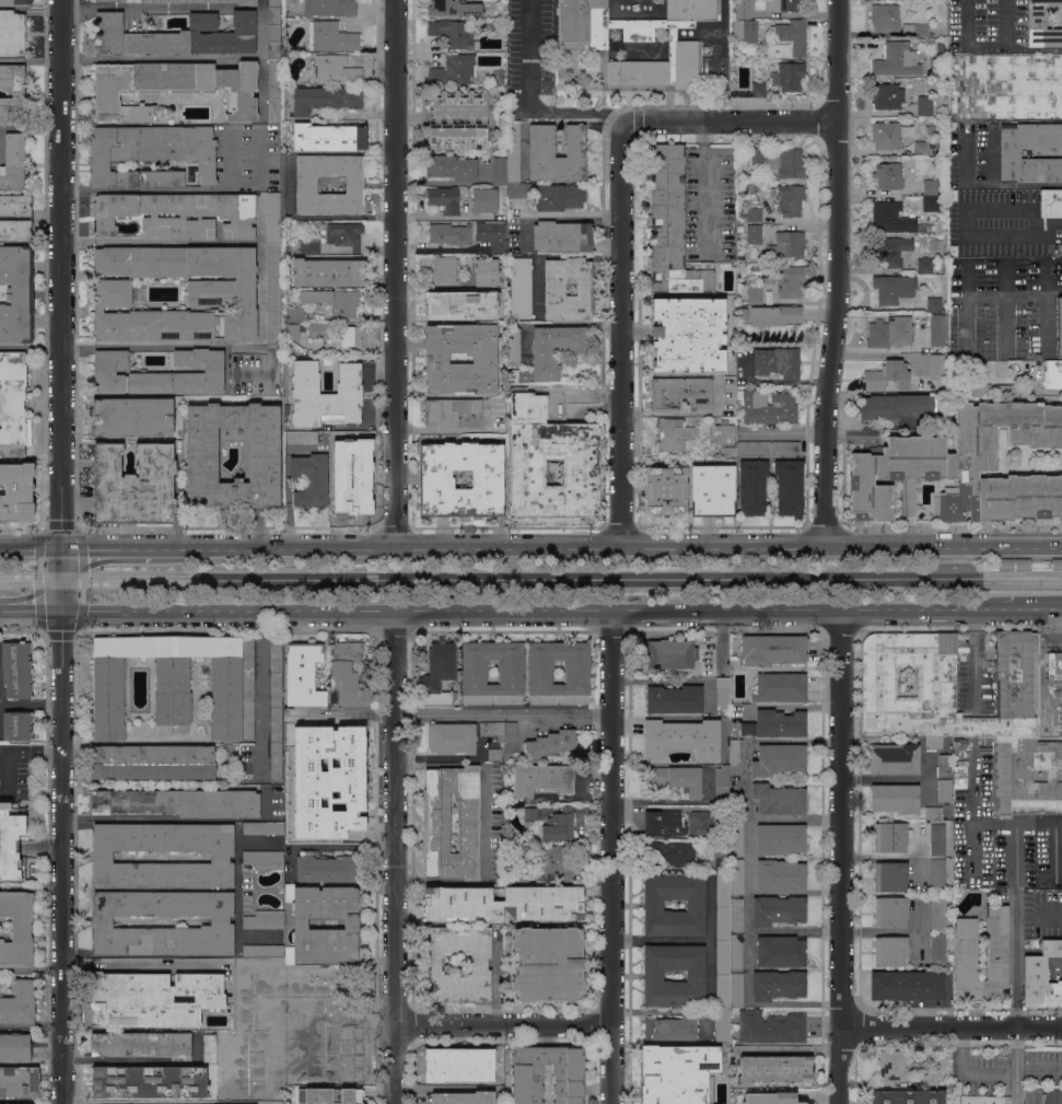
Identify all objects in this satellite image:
building: (15, 1)
building: (188, 1)
building: (273, 3)
building: (782, 4)
road: (179, 5)
road: (75, 8)
building: (329, 8)
building: (454, 8)
building: (743, 9)
building: (895, 21)
building: (1041, 25)
building: (733, 28)
building: (498, 30)
building: (749, 31)
building: (12, 33)
building: (273, 33)
building: (453, 33)
building: (177, 35)
building: (331, 36)
building: (786, 39)
road: (967, 44)
building: (582, 45)
building: (941, 45)
road: (1010, 49)
road: (203, 56)
building: (897, 59)
road: (77, 60)
building: (1051, 66)
building: (336, 70)
building: (454, 70)
building: (498, 77)
building: (733, 77)
building: (789, 77)
road: (261, 85)
building: (173, 86)
building: (758, 90)
building: (273, 91)
building: (734, 93)
building: (12, 94)
building: (887, 96)
building: (287, 97)
building: (325, 98)
building: (1055, 100)
road: (529, 101)
building: (924, 106)
building: (440, 119)
road: (728, 124)
building: (885, 135)
building: (328, 137)
building: (921, 147)
building: (541, 149)
building: (1010, 152)
building: (150, 153)
building: (513, 153)
building: (780, 161)
building: (13, 162)
building: (451, 167)
building: (499, 171)
building: (889, 175)
building: (306, 184)
road: (704, 185)
building: (930, 187)
building: (742, 189)
building: (503, 190)
building: (518, 190)
building: (953, 195)
building: (559, 197)
building: (444, 198)
building: (483, 199)
building: (791, 199)
building: (1050, 202)
building: (930, 204)
building: (177, 214)
building: (754, 214)
building: (273, 217)
building: (888, 217)
building: (14, 218)
building: (743, 218)
road: (1050, 222)
building: (672, 226)
building: (743, 229)
building: (345, 234)
building: (451, 234)
building: (492, 234)
building: (561, 236)
building: (757, 239)
road: (182, 242)
building: (790, 244)
building: (310, 247)
building: (890, 249)
building: (953, 251)
building: (924, 265)
building: (444, 269)
building: (486, 271)
road: (59, 272)
building: (327, 272)
road: (395, 272)
road: (836, 272)
road: (1047, 276)
building: (790, 281)
building: (521, 288)
building: (892, 288)
building: (221, 290)
building: (555, 290)
building: (273, 293)
building: (755, 293)
building: (16, 294)
building: (334, 300)
road: (1006, 300)
building: (458, 304)
building: (934, 305)
building: (742, 306)
road: (967, 309)
road: (1006, 310)
road: (1047, 312)
building: (295, 314)
building: (774, 315)
building: (1059, 326)
building: (318, 329)
building: (937, 329)
building: (294, 330)
building: (889, 332)
road: (622, 334)
building: (351, 335)
building: (688, 335)
road: (178, 344)
building: (513, 347)
building: (552, 350)
building: (1038, 357)
building: (460, 359)
building: (777, 362)
building: (936, 365)
building: (12, 373)
building: (159, 373)
building: (1052, 374)
building: (886, 375)
building: (993, 387)
building: (679, 393)
building: (325, 395)
road: (581, 395)
building: (943, 395)
building: (942, 402)
building: (895, 406)
building: (767, 407)
building: (942, 408)
building: (453, 412)
building: (132, 417)
building: (943, 418)
building: (943, 425)
building: (13, 427)
building: (674, 434)
building: (301, 437)
building: (747, 442)
building: (555, 443)
building: (202, 452)
building: (966, 466)
building: (351, 477)
building: (311, 479)
building: (436, 483)
building: (133, 485)
building: (751, 487)
building: (789, 487)
building: (665, 490)
building: (712, 490)
building: (16, 491)
road: (43, 526)
road: (31, 546)
traffic signals: (61, 546)
road: (620, 546)
road: (120, 547)
building: (1005, 561)
building: (1022, 561)
building: (1057, 562)
road: (1026, 565)
road: (61, 578)
traffic signals: (61, 579)
road: (1032, 607)
road: (30, 609)
traffic signals: (60, 609)
road: (532, 609)
road: (1061, 617)
road: (260, 621)
building: (771, 649)
building: (670, 654)
building: (710, 660)
road: (973, 660)
building: (1055, 669)
building: (16, 670)
building: (303, 674)
building: (349, 674)
building: (437, 675)
building: (474, 675)
building: (539, 675)
building: (176, 684)
building: (780, 687)
building: (723, 695)
building: (674, 699)
road: (261, 705)
building: (276, 710)
road: (452, 714)
building: (775, 724)
building: (948, 724)
building: (17, 727)
building: (723, 729)
building: (493, 730)
building: (452, 737)
building: (511, 737)
building: (682, 737)
building: (347, 739)
building: (933, 742)
building: (307, 744)
building: (548, 744)
building: (958, 746)
road: (15, 751)
building: (736, 752)
building: (494, 754)
building: (779, 758)
building: (895, 758)
building: (151, 762)
building: (944, 766)
building: (540, 779)
building: (675, 779)
building: (722, 785)
building: (944, 791)
building: (895, 798)
building: (779, 799)
building: (177, 803)
building: (736, 807)
building: (530, 813)
building: (933, 813)
road: (117, 817)
building: (327, 822)
building: (436, 822)
building: (664, 823)
building: (700, 823)
building: (559, 825)
building: (264, 828)
building: (737, 837)
building: (890, 837)
building: (10, 838)
building: (780, 838)
building: (937, 839)
road: (326, 845)
building: (722, 850)
building: (673, 852)
road: (60, 856)
road: (394, 857)
road: (611, 857)
road: (839, 857)
building: (103, 859)
building: (264, 859)
building: (557, 861)
building: (522, 863)
building: (722, 864)
building: (327, 867)
building: (937, 873)
building: (780, 874)
building: (890, 876)
building: (736, 878)
building: (503, 903)
building: (653, 905)
building: (723, 907)
building: (778, 910)
building: (890, 911)
building: (938, 914)
building: (736, 915)
building: (264, 919)
building: (351, 923)
building: (222, 925)
building: (16, 928)
road: (1015, 942)
building: (996, 948)
building: (938, 949)
building: (890, 950)
building: (262, 951)
building: (736, 951)
building: (781, 951)
building: (253, 961)
road: (136, 964)
building: (479, 964)
building: (547, 964)
building: (275, 965)
building: (323, 971)
building: (653, 975)
building: (723, 975)
building: (1041, 977)
building: (779, 985)
building: (292, 986)
building: (907, 986)
building: (736, 989)
building: (243, 990)
building: (149, 999)
building: (19, 1003)
building: (259, 1013)
building: (240, 1019)
road: (503, 1023)
road: (950, 1024)
road: (30, 1025)
building: (723, 1025)
building: (769, 1025)
building: (670, 1027)
building: (143, 1044)
building: (15, 1047)
building: (209, 1047)
road: (141, 1058)
building: (247, 1064)
building: (891, 1066)
building: (448, 1067)
building: (332, 1068)
building: (568, 1069)
building: (775, 1070)
building: (678, 1073)
building: (489, 1074)
building: (929, 1080)
building: (20, 1081)
building: (149, 1081)
building: (221, 1093)
building: (330, 1095)
building: (233, 1096)
building: (908, 1096)
building: (1032, 1096)
building: (463, 1097)
building: (790, 1097)
building: (277, 1102)
building: (14, 1103)

